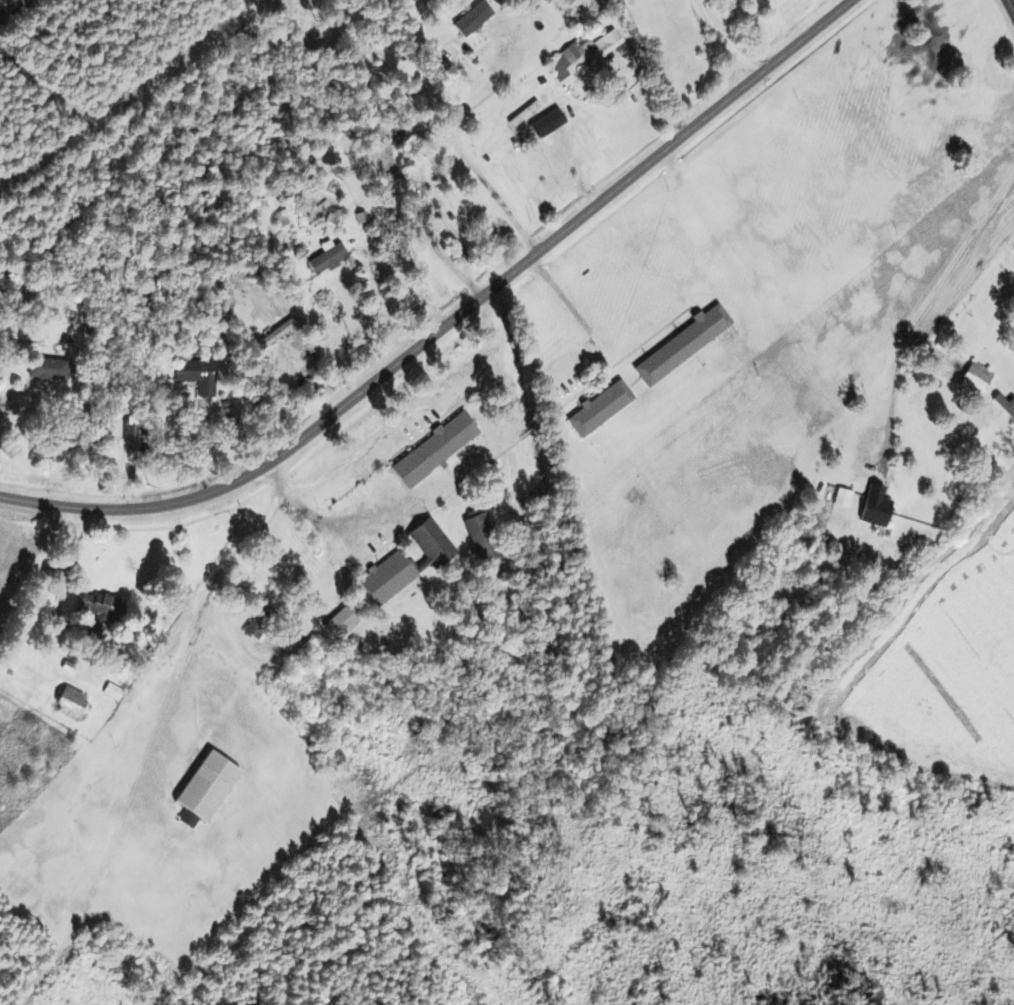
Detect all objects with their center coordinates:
road: (1011, 6)
road: (17, 11)
building: (473, 14)
road: (726, 38)
building: (610, 39)
building: (564, 62)
building: (397, 186)
building: (326, 259)
road: (451, 320)
road: (583, 326)
road: (991, 338)
building: (679, 345)
road: (499, 365)
building: (47, 369)
building: (194, 371)
building: (975, 379)
road: (15, 393)
building: (599, 407)
building: (129, 434)
road: (366, 445)
building: (431, 450)
building: (842, 498)
building: (874, 506)
road: (331, 519)
building: (476, 533)
road: (248, 536)
building: (430, 543)
building: (385, 577)
building: (91, 604)
building: (340, 623)
building: (69, 702)
building: (205, 788)

